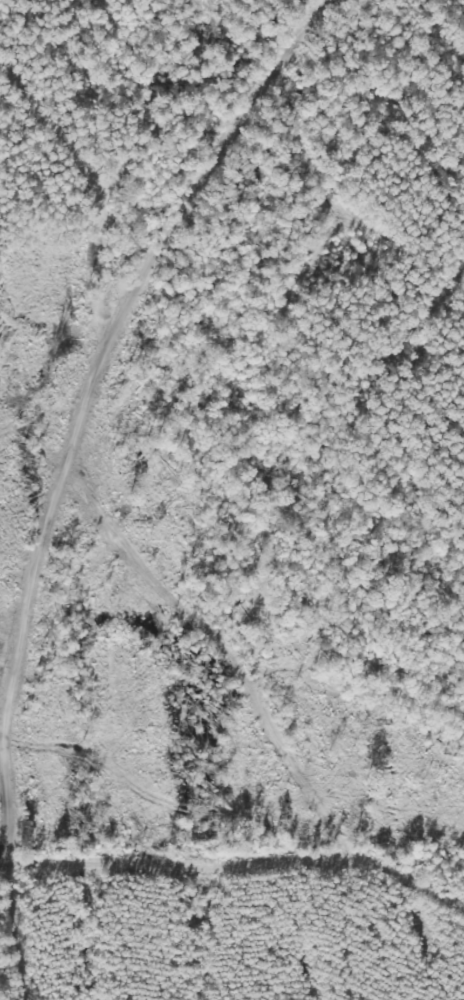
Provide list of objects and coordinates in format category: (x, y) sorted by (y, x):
road: (97, 462)
road: (267, 742)

